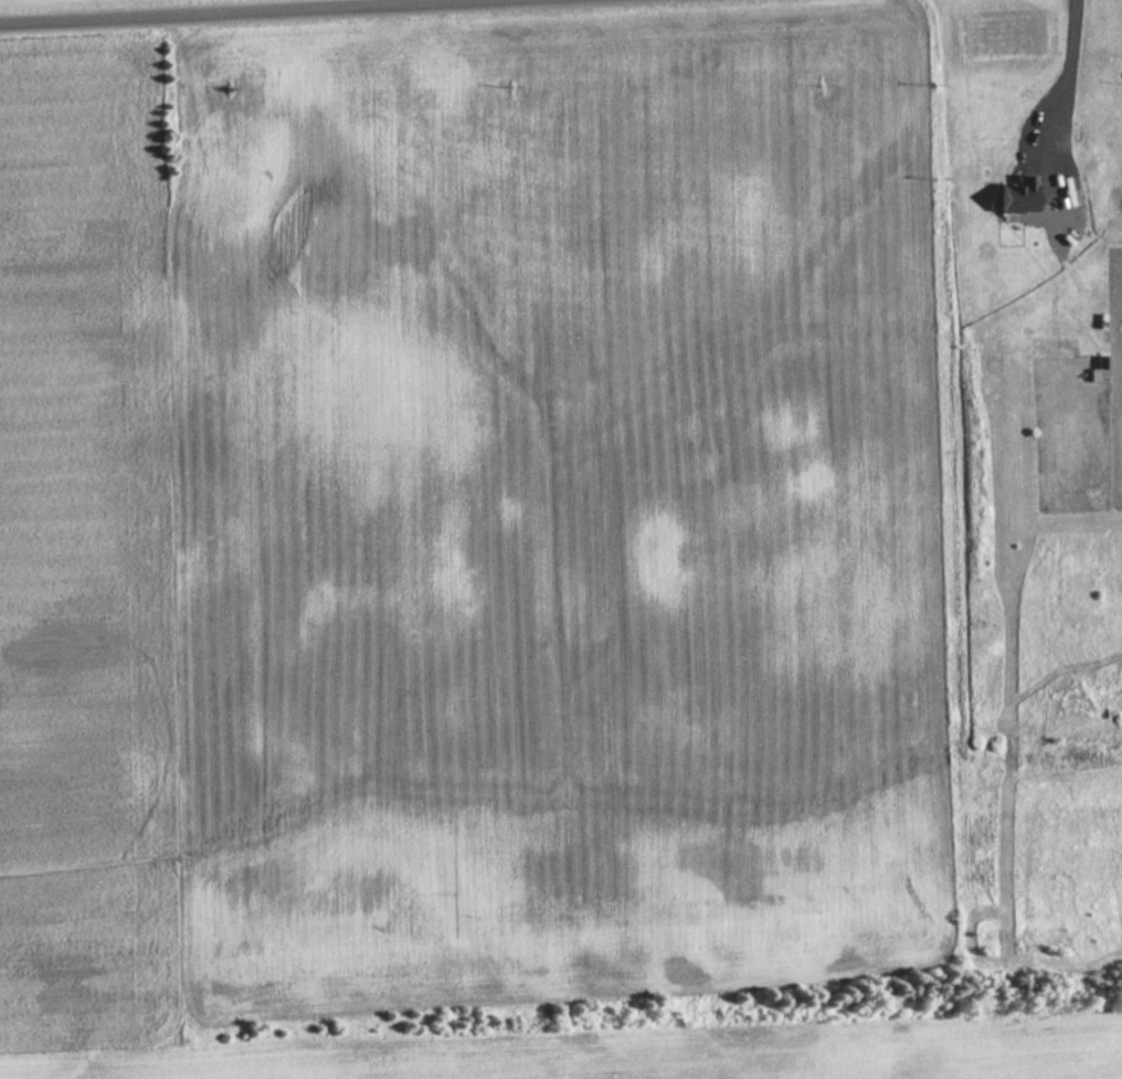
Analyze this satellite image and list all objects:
road: (343, 15)
building: (1018, 195)

